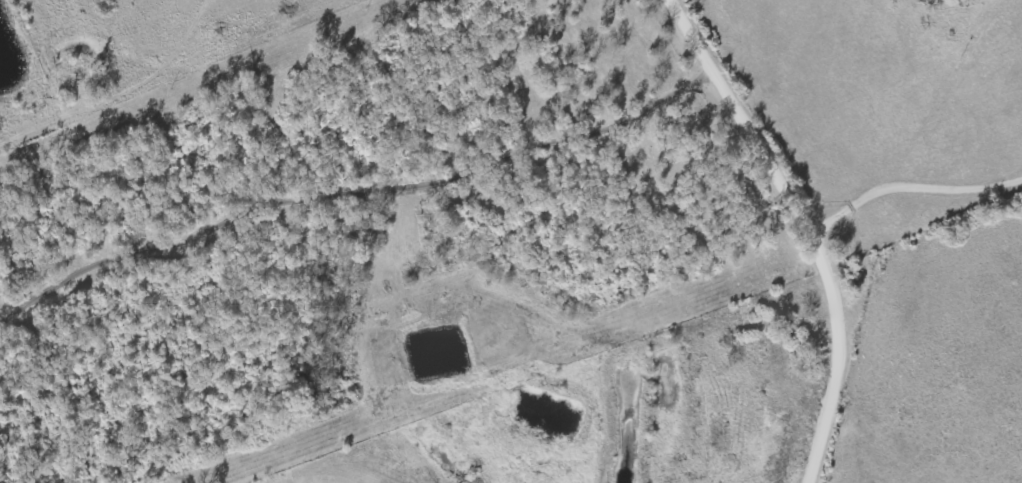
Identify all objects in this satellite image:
road: (909, 188)
road: (806, 227)

